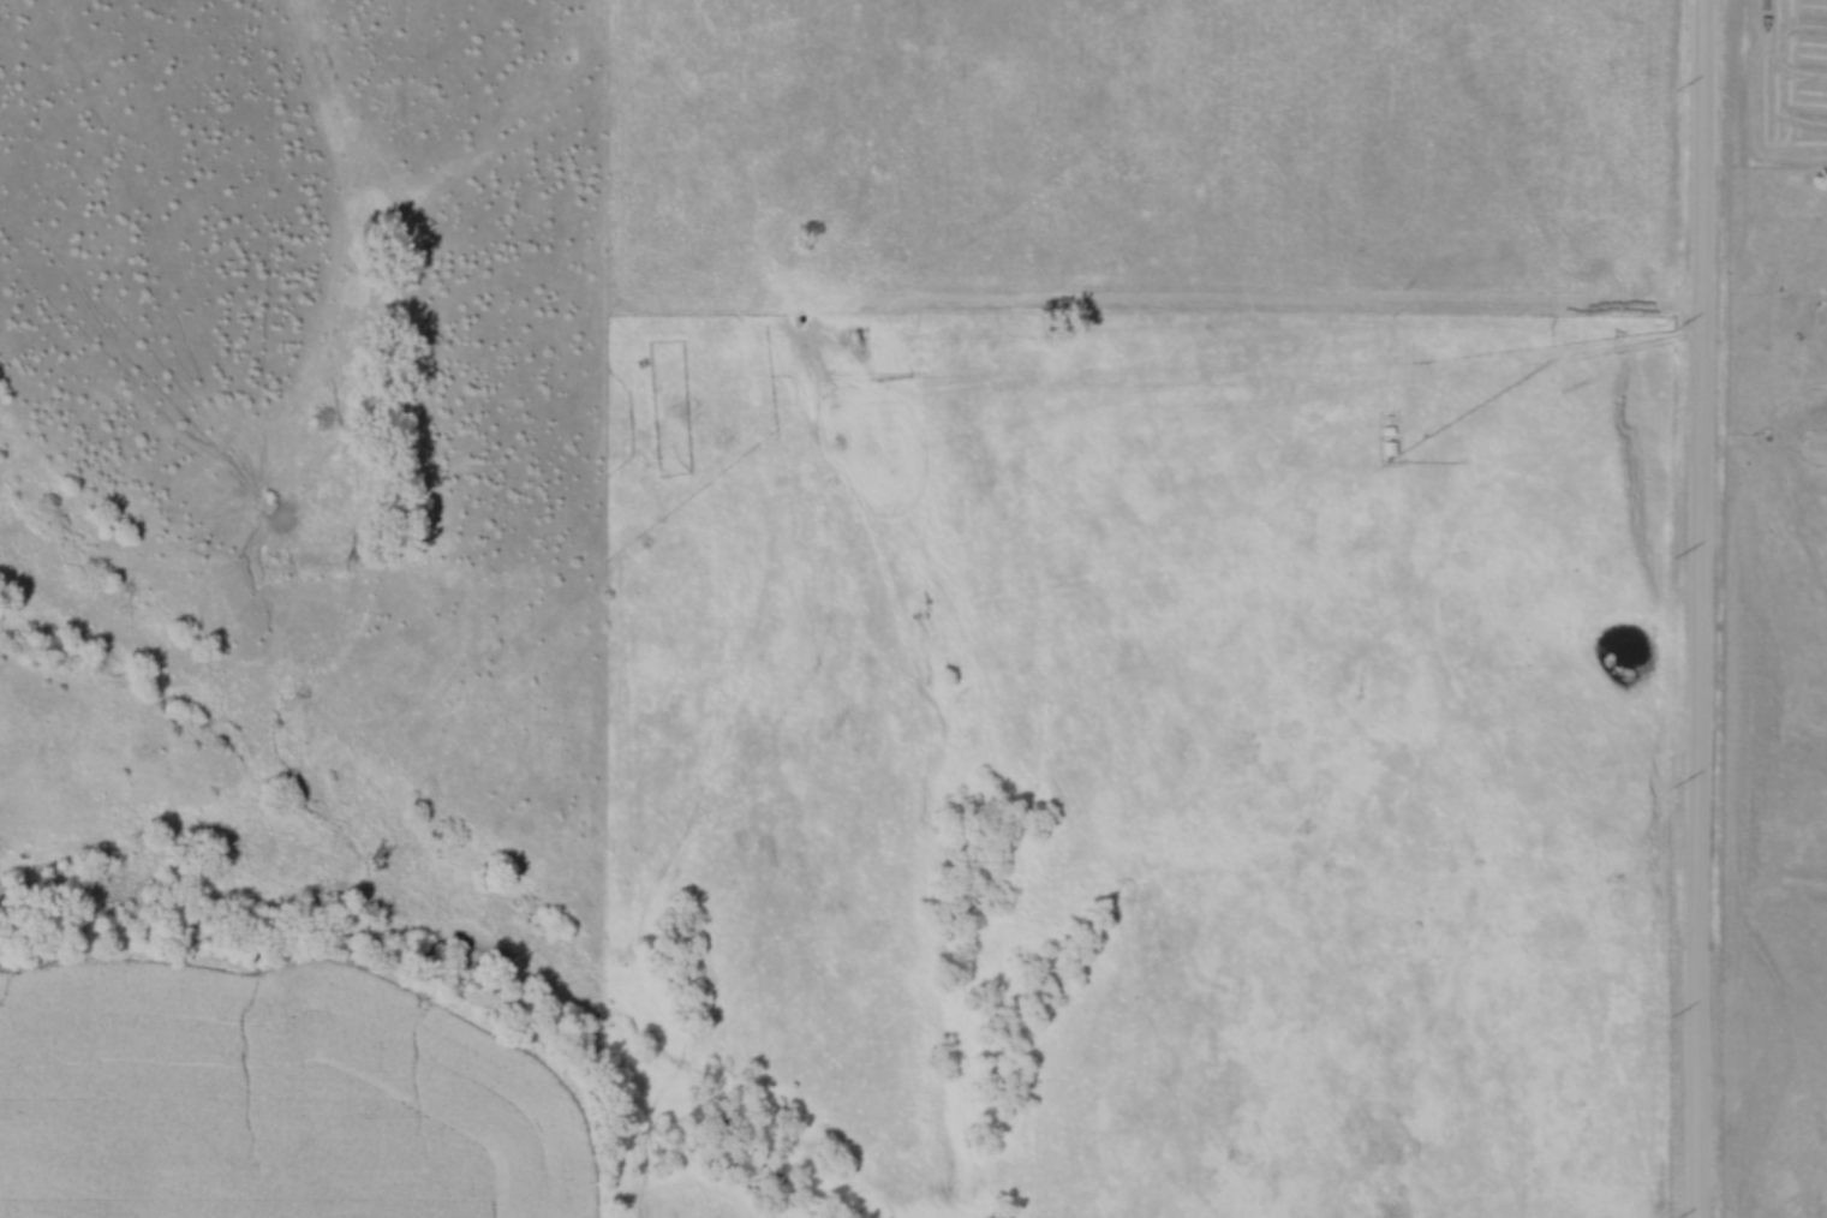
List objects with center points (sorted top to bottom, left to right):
building: (1387, 448)
road: (1698, 608)

